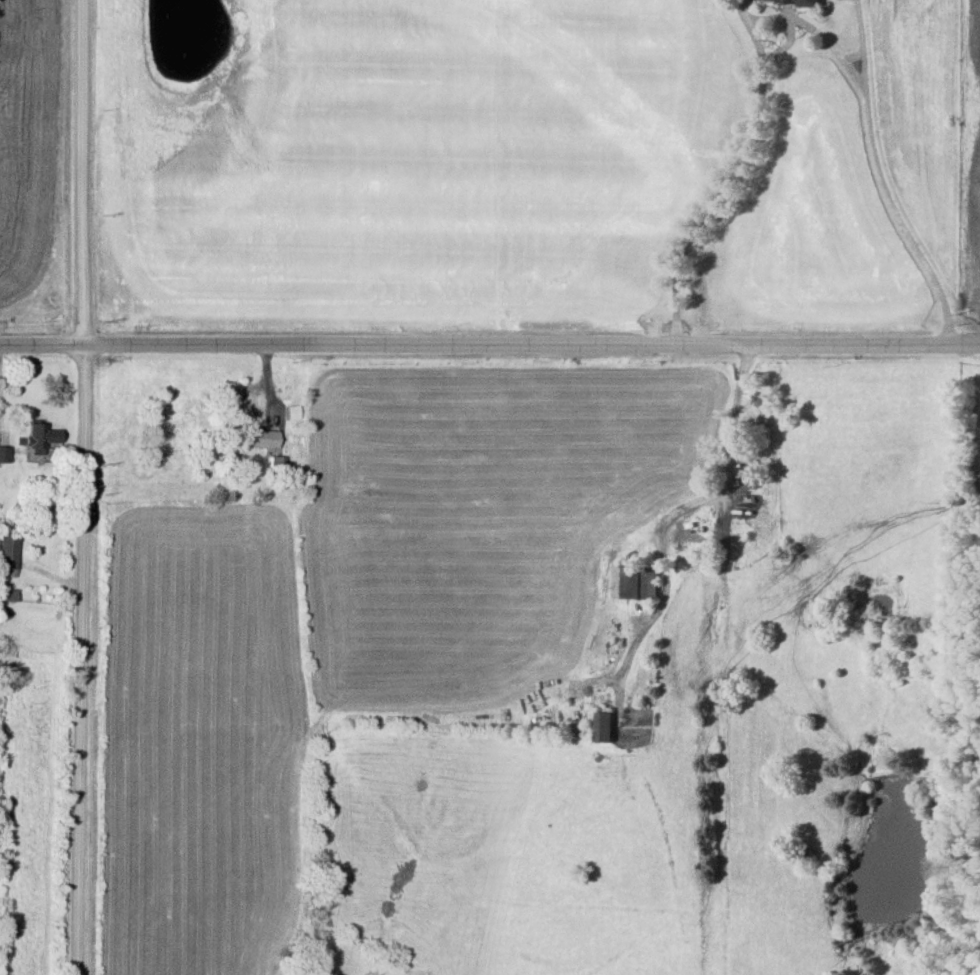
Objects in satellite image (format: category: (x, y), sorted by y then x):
building: (790, 1)
road: (787, 27)
road: (859, 48)
road: (849, 55)
road: (877, 169)
road: (735, 177)
road: (489, 343)
building: (291, 413)
building: (39, 437)
building: (258, 439)
building: (4, 454)
building: (277, 464)
road: (719, 480)
road: (89, 487)
building: (7, 543)
building: (633, 582)
building: (8, 594)
building: (600, 727)

